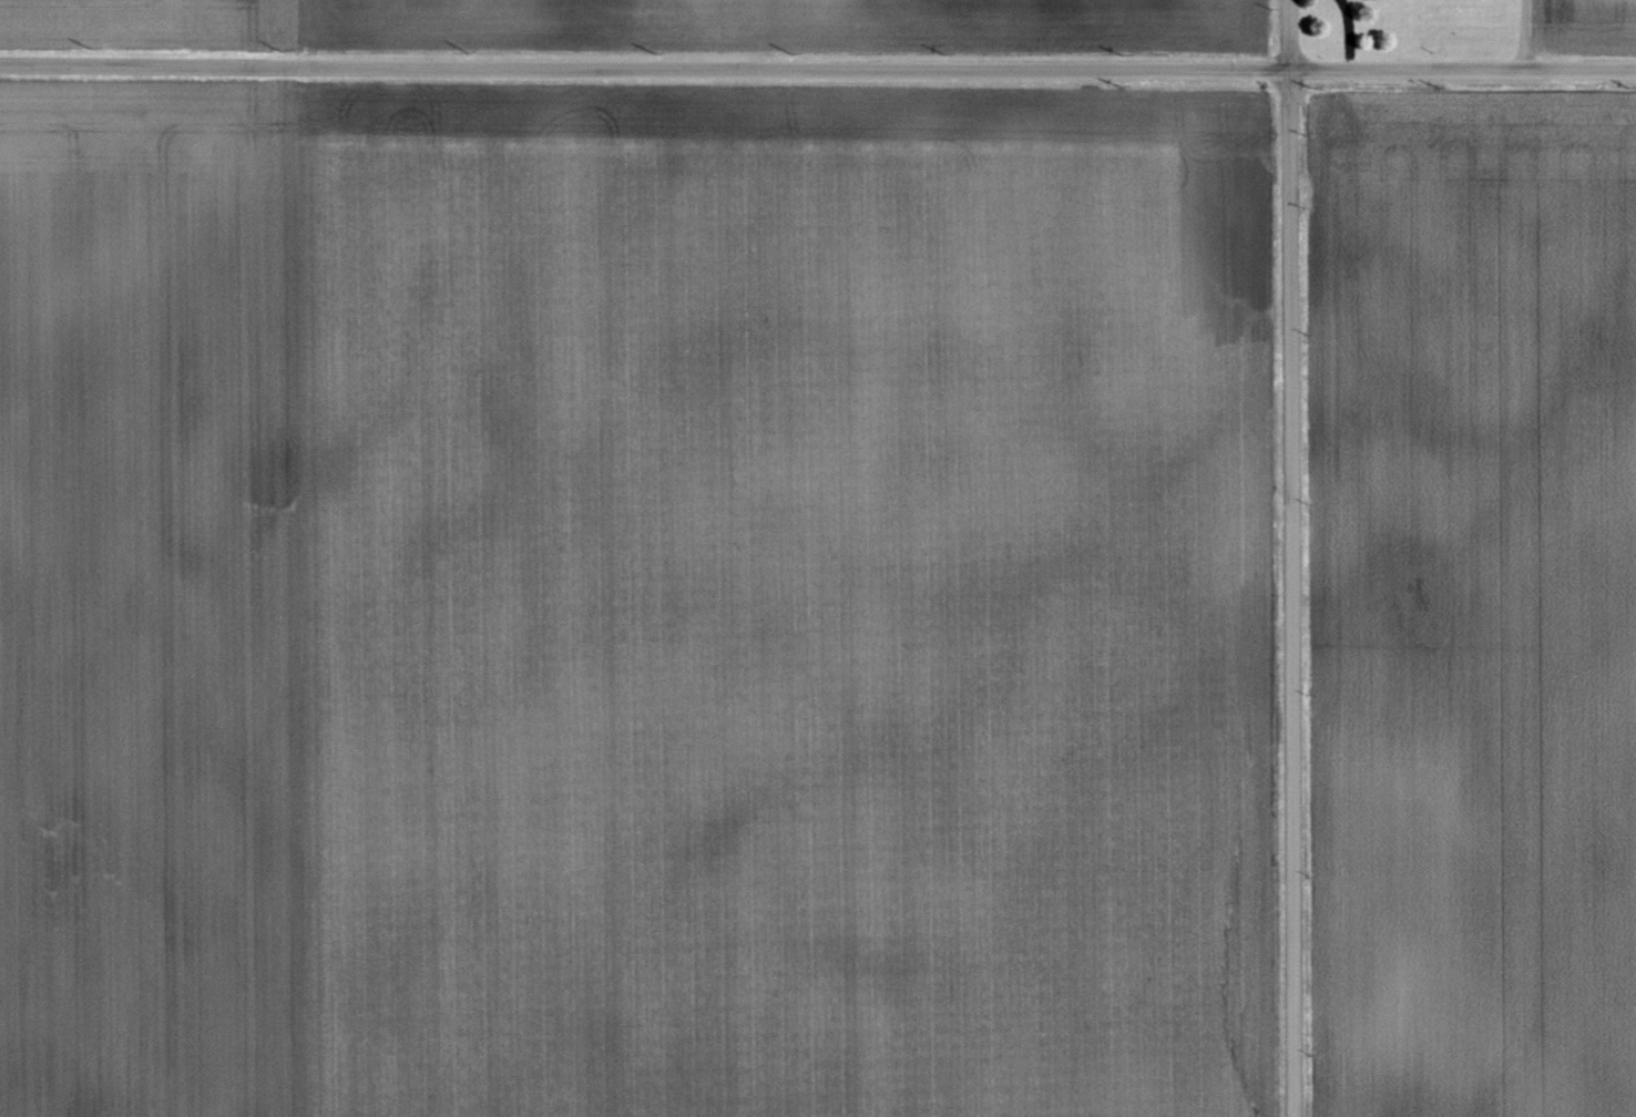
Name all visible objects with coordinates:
road: (1525, 35)
road: (817, 68)
road: (1292, 558)

